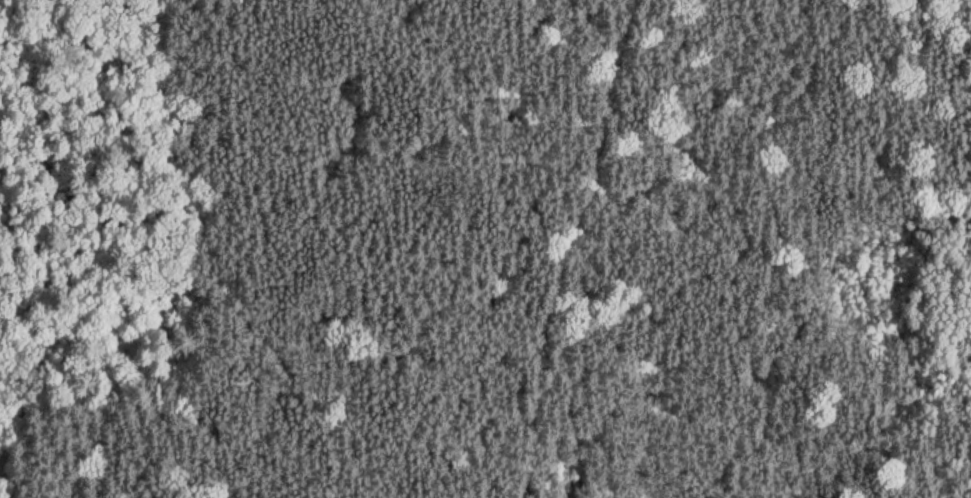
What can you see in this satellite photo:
road: (579, 248)

